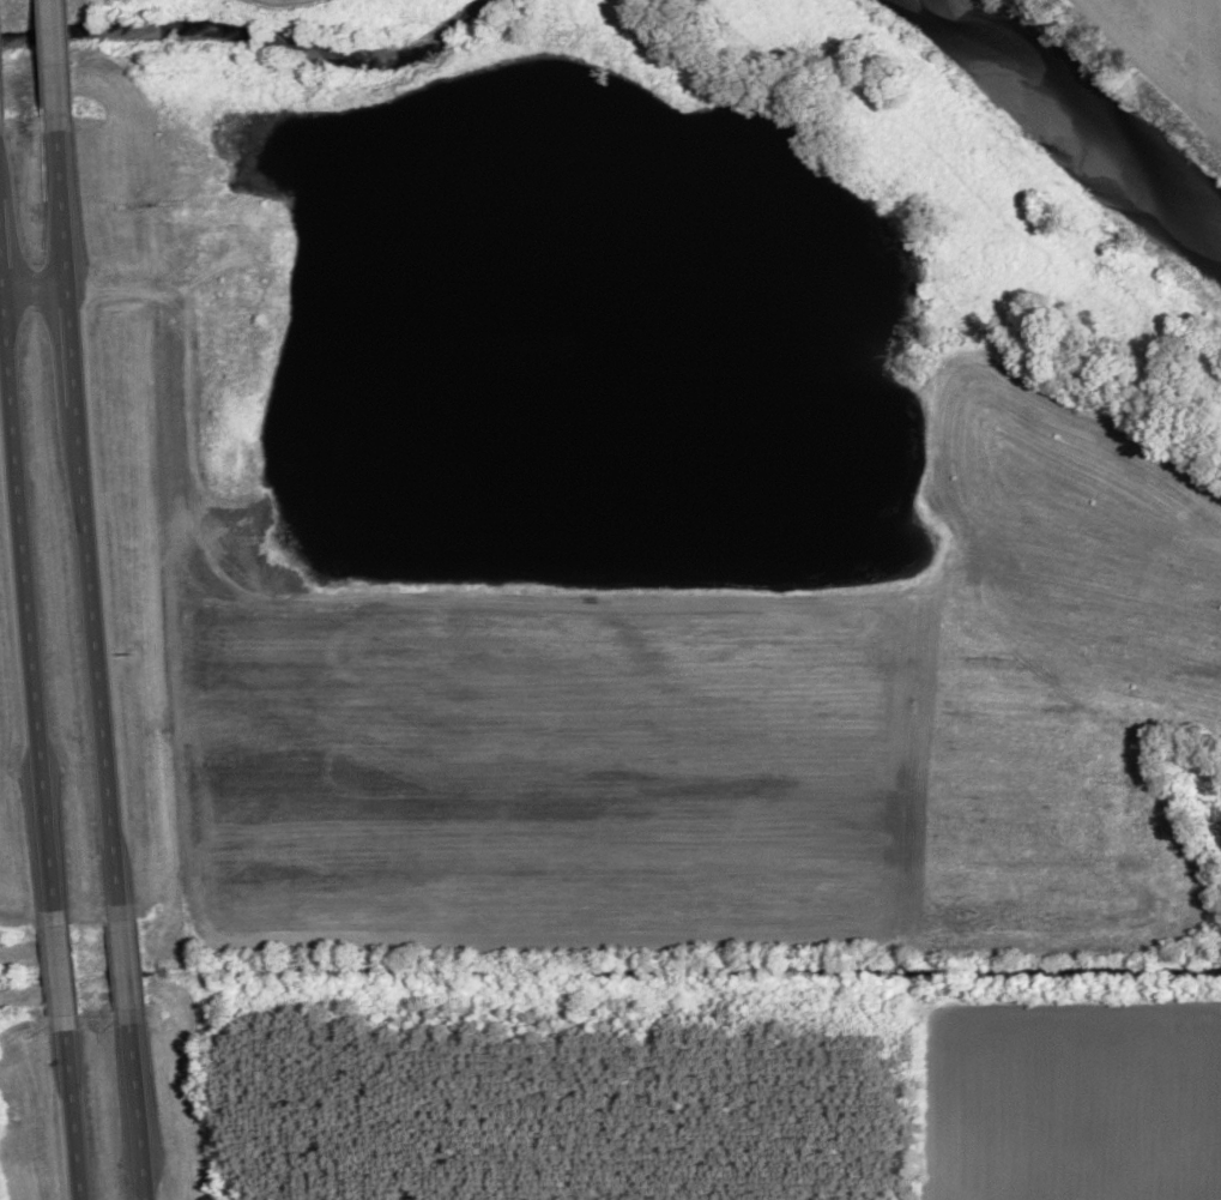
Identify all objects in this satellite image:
road: (56, 66)
river: (1071, 129)
road: (64, 207)
road: (2, 252)
road: (36, 284)
road: (73, 345)
road: (30, 599)
road: (98, 656)
road: (125, 965)
road: (60, 972)
road: (138, 1112)
road: (72, 1116)

